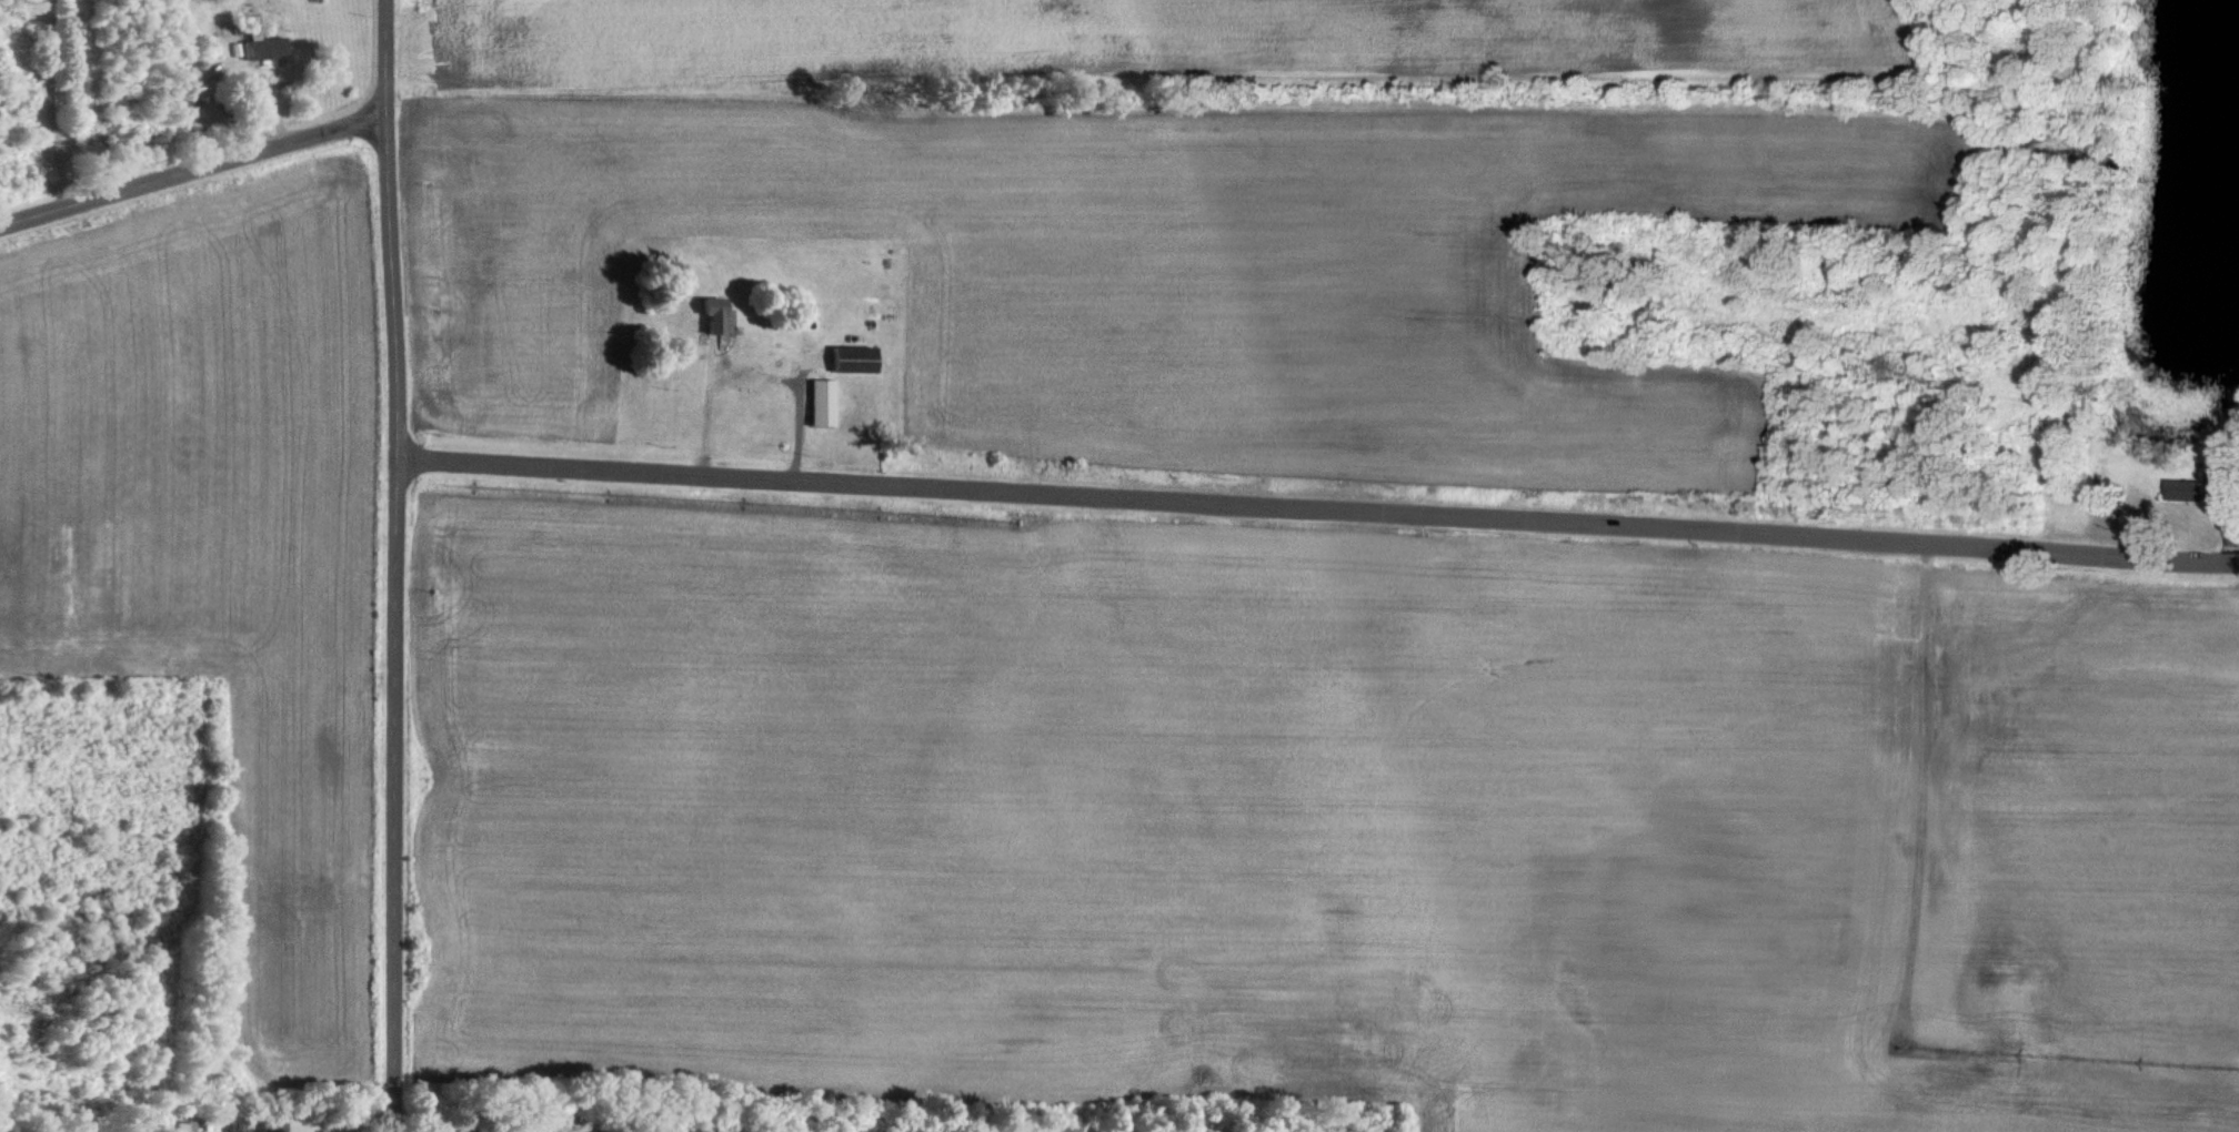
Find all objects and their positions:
building: (278, 48)
road: (71, 103)
road: (202, 172)
building: (709, 313)
building: (855, 358)
building: (822, 402)
building: (2177, 489)
road: (1323, 513)
road: (406, 566)
building: (187, 1125)
building: (238, 1125)
building: (275, 1125)
road: (27, 1130)

